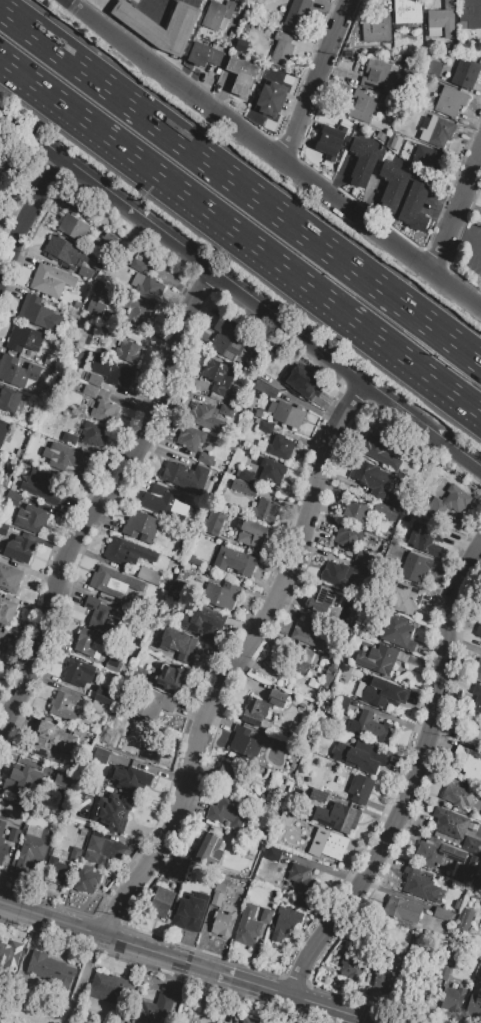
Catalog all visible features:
building: (373, 6)
building: (407, 11)
building: (297, 13)
building: (469, 14)
building: (217, 15)
building: (441, 20)
building: (137, 21)
building: (374, 29)
building: (240, 46)
building: (281, 50)
building: (204, 55)
building: (465, 72)
building: (242, 76)
building: (378, 76)
road: (316, 81)
building: (270, 99)
building: (450, 101)
building: (362, 105)
building: (436, 130)
building: (331, 141)
road: (271, 155)
building: (425, 157)
building: (362, 161)
building: (8, 162)
road: (240, 186)
building: (392, 186)
building: (414, 206)
road: (456, 212)
road: (26, 217)
building: (73, 227)
road: (240, 236)
parking lot: (471, 249)
building: (65, 250)
building: (99, 264)
building: (137, 265)
building: (84, 271)
building: (50, 280)
building: (148, 286)
road: (241, 288)
building: (94, 307)
building: (39, 314)
building: (137, 315)
building: (232, 337)
building: (24, 339)
building: (128, 351)
building: (16, 371)
building: (112, 372)
building: (219, 376)
building: (265, 377)
building: (94, 379)
building: (303, 385)
building: (265, 388)
building: (89, 391)
building: (9, 398)
building: (226, 410)
building: (105, 411)
building: (286, 413)
building: (261, 414)
building: (206, 418)
building: (264, 426)
building: (3, 430)
building: (94, 434)
building: (69, 438)
building: (190, 438)
building: (280, 447)
building: (375, 448)
building: (59, 456)
building: (205, 458)
building: (271, 471)
building: (246, 475)
building: (184, 476)
building: (371, 478)
building: (41, 487)
building: (244, 488)
building: (12, 498)
building: (392, 499)
road: (104, 501)
building: (450, 501)
building: (168, 502)
building: (264, 510)
building: (385, 510)
building: (355, 512)
building: (31, 518)
building: (214, 523)
building: (140, 527)
building: (3, 529)
building: (251, 533)
building: (348, 537)
building: (425, 538)
building: (18, 549)
building: (126, 551)
building: (363, 557)
building: (234, 561)
building: (415, 568)
building: (342, 572)
building: (145, 574)
building: (106, 578)
building: (9, 579)
building: (222, 595)
building: (402, 597)
building: (318, 600)
building: (7, 611)
building: (99, 613)
building: (202, 620)
building: (479, 630)
building: (398, 632)
building: (311, 633)
building: (2, 640)
building: (88, 641)
building: (150, 645)
building: (181, 646)
building: (377, 659)
building: (301, 660)
road: (240, 661)
building: (114, 666)
building: (477, 670)
building: (78, 672)
building: (139, 674)
building: (170, 676)
building: (477, 689)
building: (384, 694)
building: (105, 695)
building: (62, 705)
building: (154, 705)
building: (261, 707)
building: (477, 707)
building: (373, 728)
building: (477, 734)
building: (52, 743)
building: (126, 743)
building: (246, 743)
building: (361, 756)
building: (469, 763)
building: (228, 773)
building: (21, 778)
building: (131, 778)
building: (65, 780)
road: (415, 783)
building: (360, 788)
building: (455, 795)
building: (319, 796)
building: (113, 811)
building: (229, 811)
building: (337, 817)
building: (284, 820)
building: (450, 823)
building: (98, 834)
building: (13, 835)
building: (2, 843)
building: (95, 843)
building: (328, 844)
building: (472, 845)
building: (33, 850)
building: (206, 850)
building: (437, 853)
building: (75, 854)
building: (91, 856)
building: (55, 871)
building: (466, 871)
building: (176, 873)
building: (300, 877)
building: (87, 879)
building: (415, 883)
building: (477, 883)
building: (205, 896)
building: (216, 899)
building: (161, 902)
building: (300, 902)
building: (186, 907)
building: (403, 909)
building: (441, 913)
building: (265, 915)
building: (464, 921)
building: (223, 923)
building: (285, 923)
building: (247, 931)
building: (393, 935)
building: (9, 955)
road: (182, 962)
building: (350, 964)
building: (386, 968)
building: (49, 970)
building: (443, 973)
building: (418, 978)
building: (113, 990)
building: (453, 999)
building: (475, 1004)
building: (154, 1009)
building: (248, 1020)

